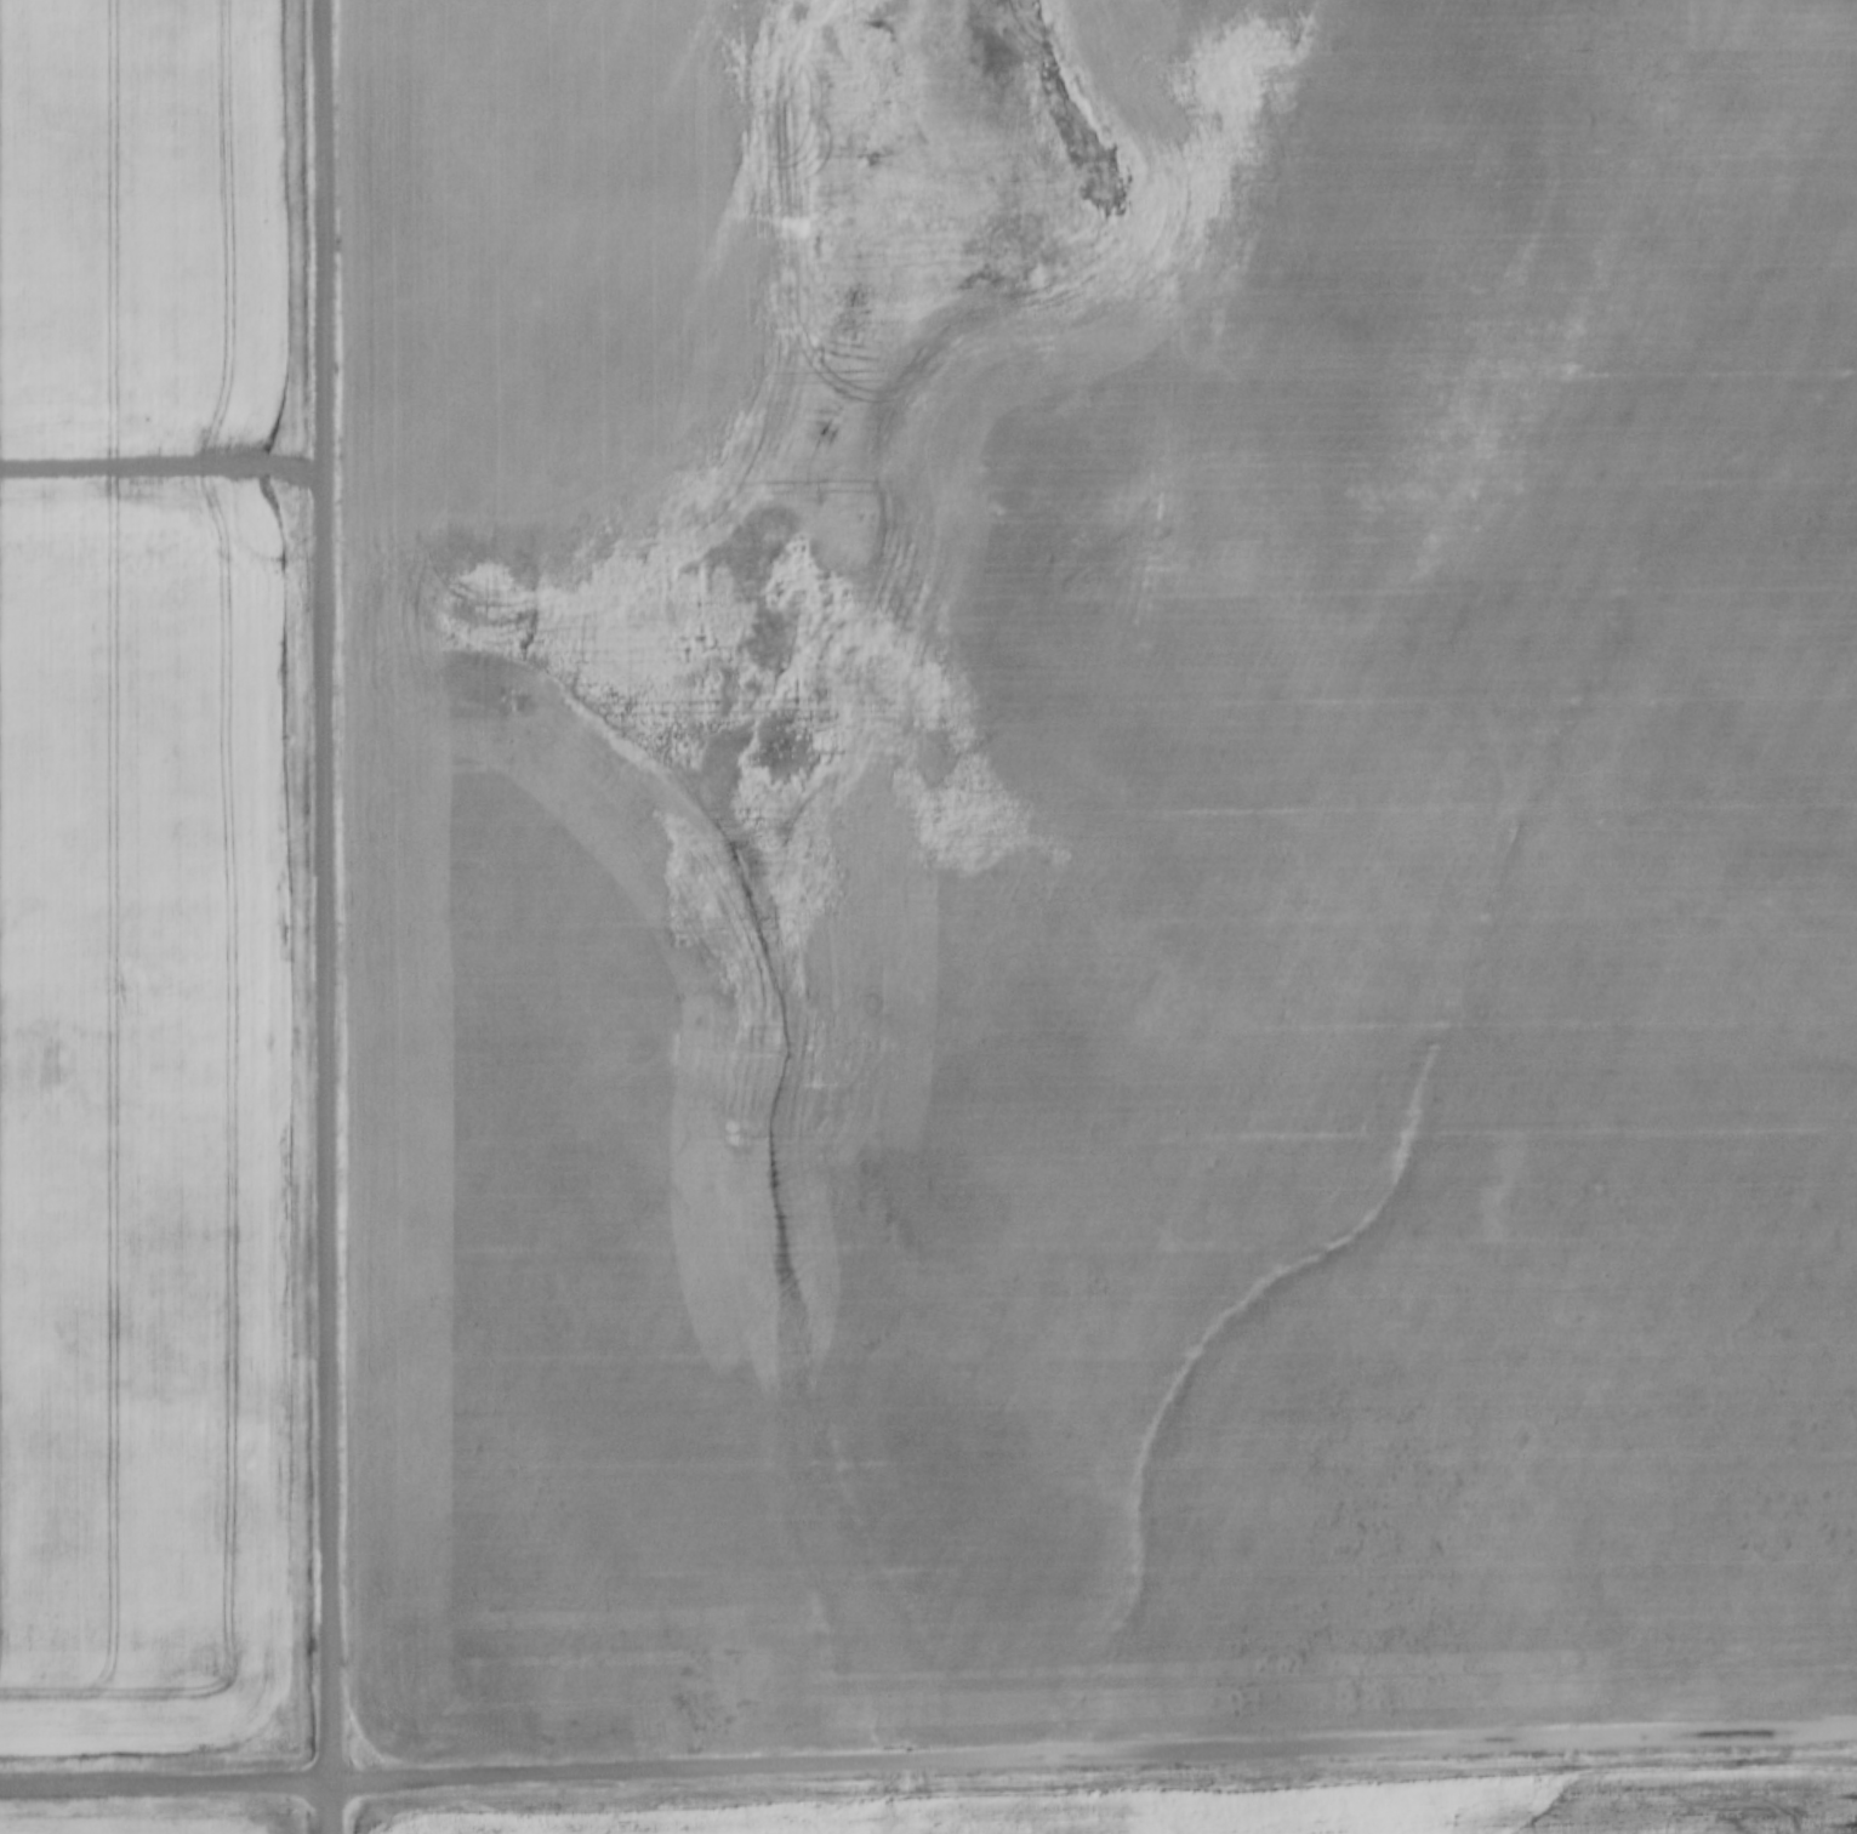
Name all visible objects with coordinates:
road: (329, 916)
road: (1092, 1756)
road: (163, 1781)

